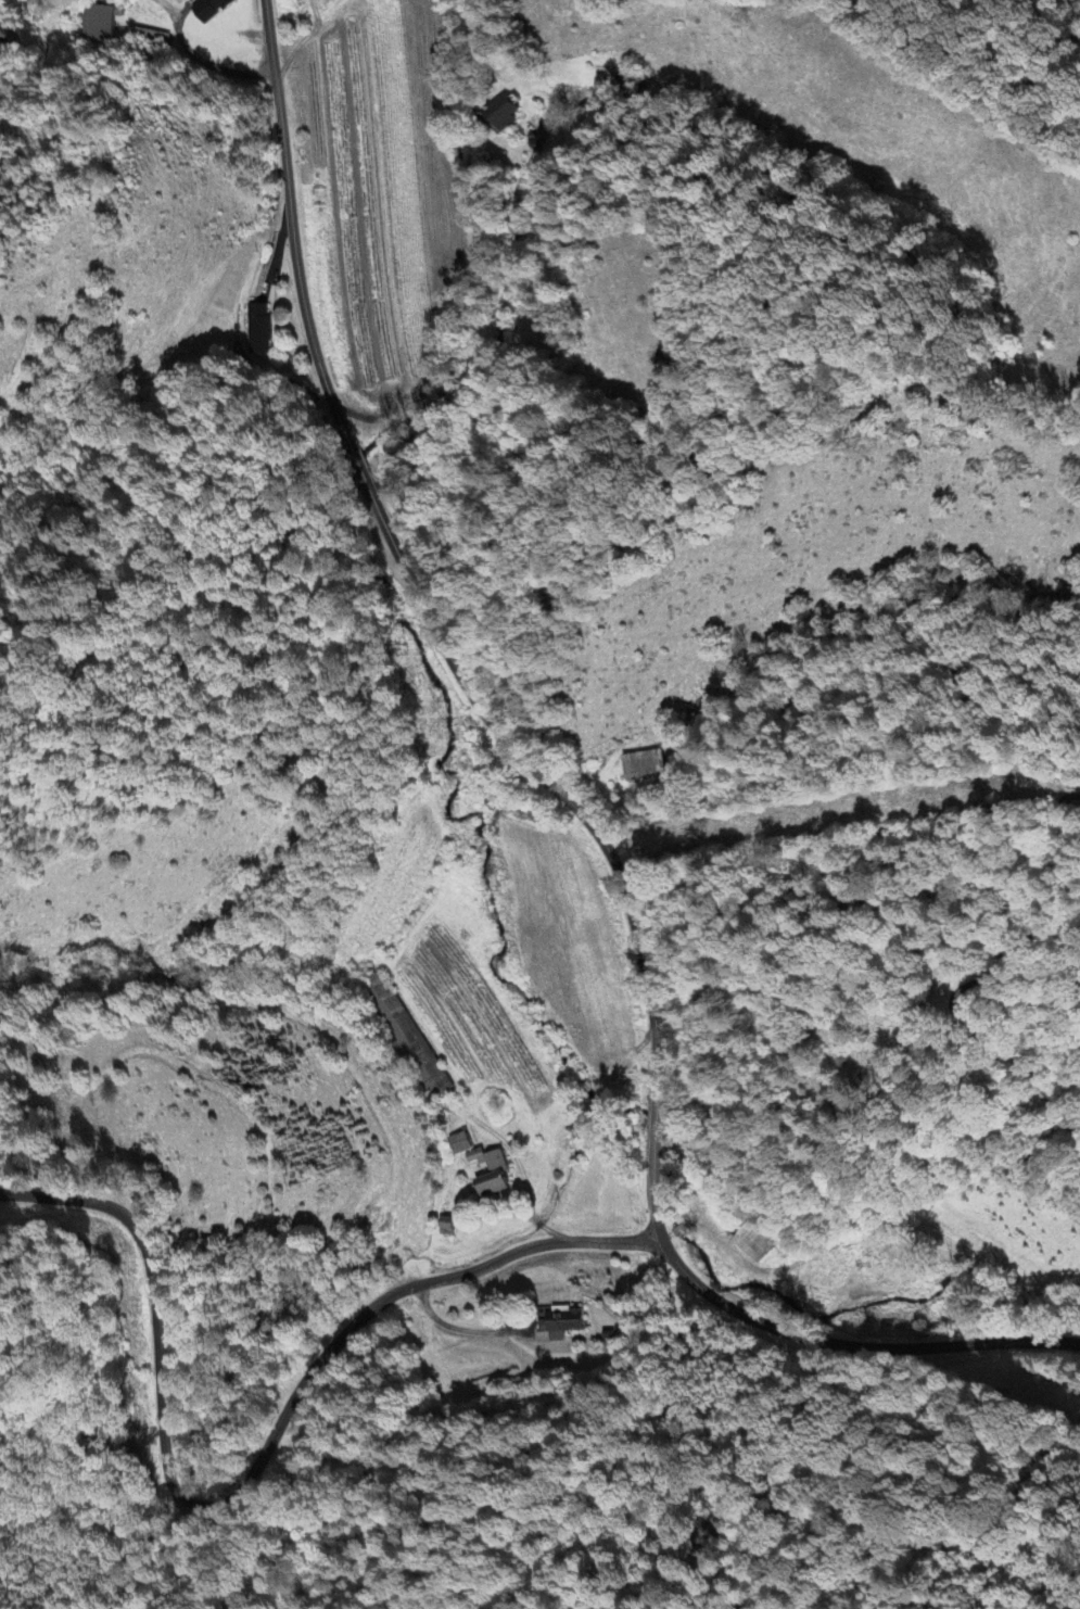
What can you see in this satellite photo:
building: (214, 9)
building: (101, 23)
building: (507, 114)
building: (262, 329)
road: (406, 573)
building: (641, 765)
building: (407, 1037)
road: (655, 1111)
road: (657, 1184)
building: (560, 1321)
road: (852, 1342)
road: (250, 1472)

